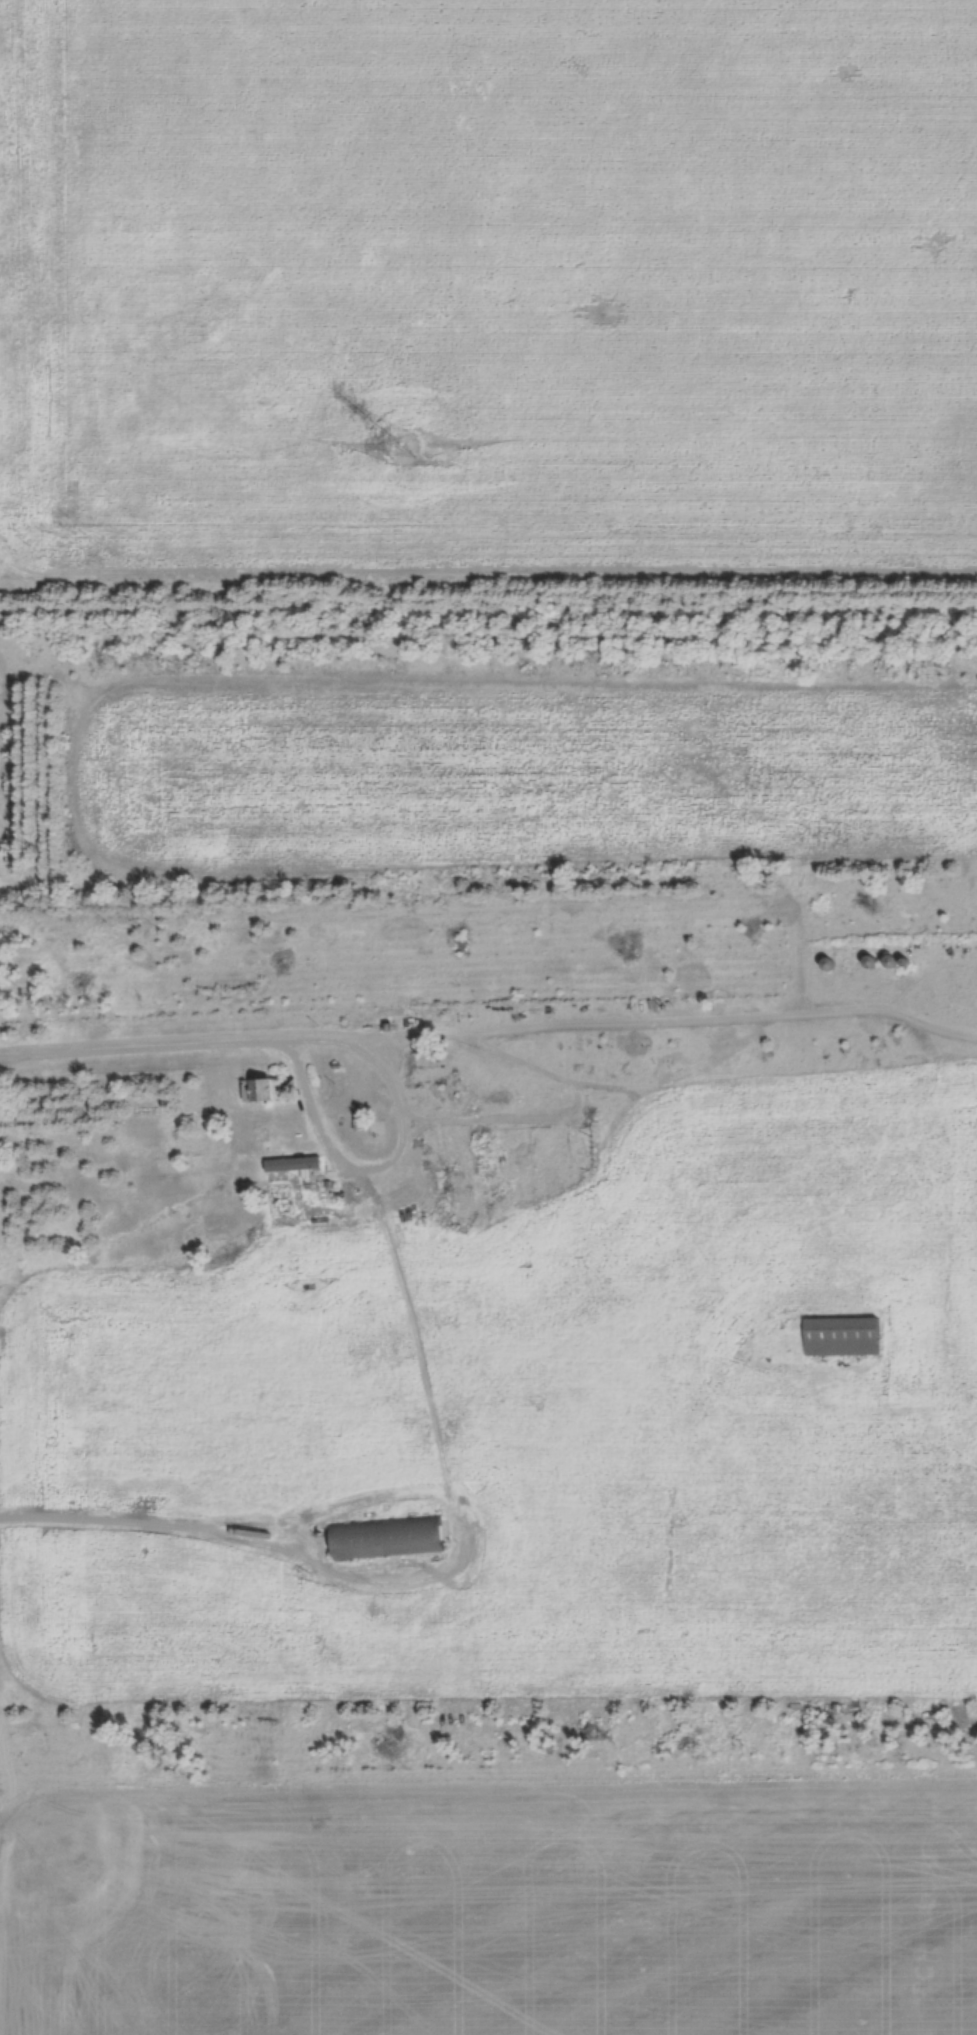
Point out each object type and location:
power tower: (396, 448)
building: (866, 962)
building: (824, 964)
road: (146, 1051)
building: (257, 1090)
road: (391, 1092)
building: (289, 1166)
building: (837, 1337)
building: (382, 1538)
building: (837, 1709)

